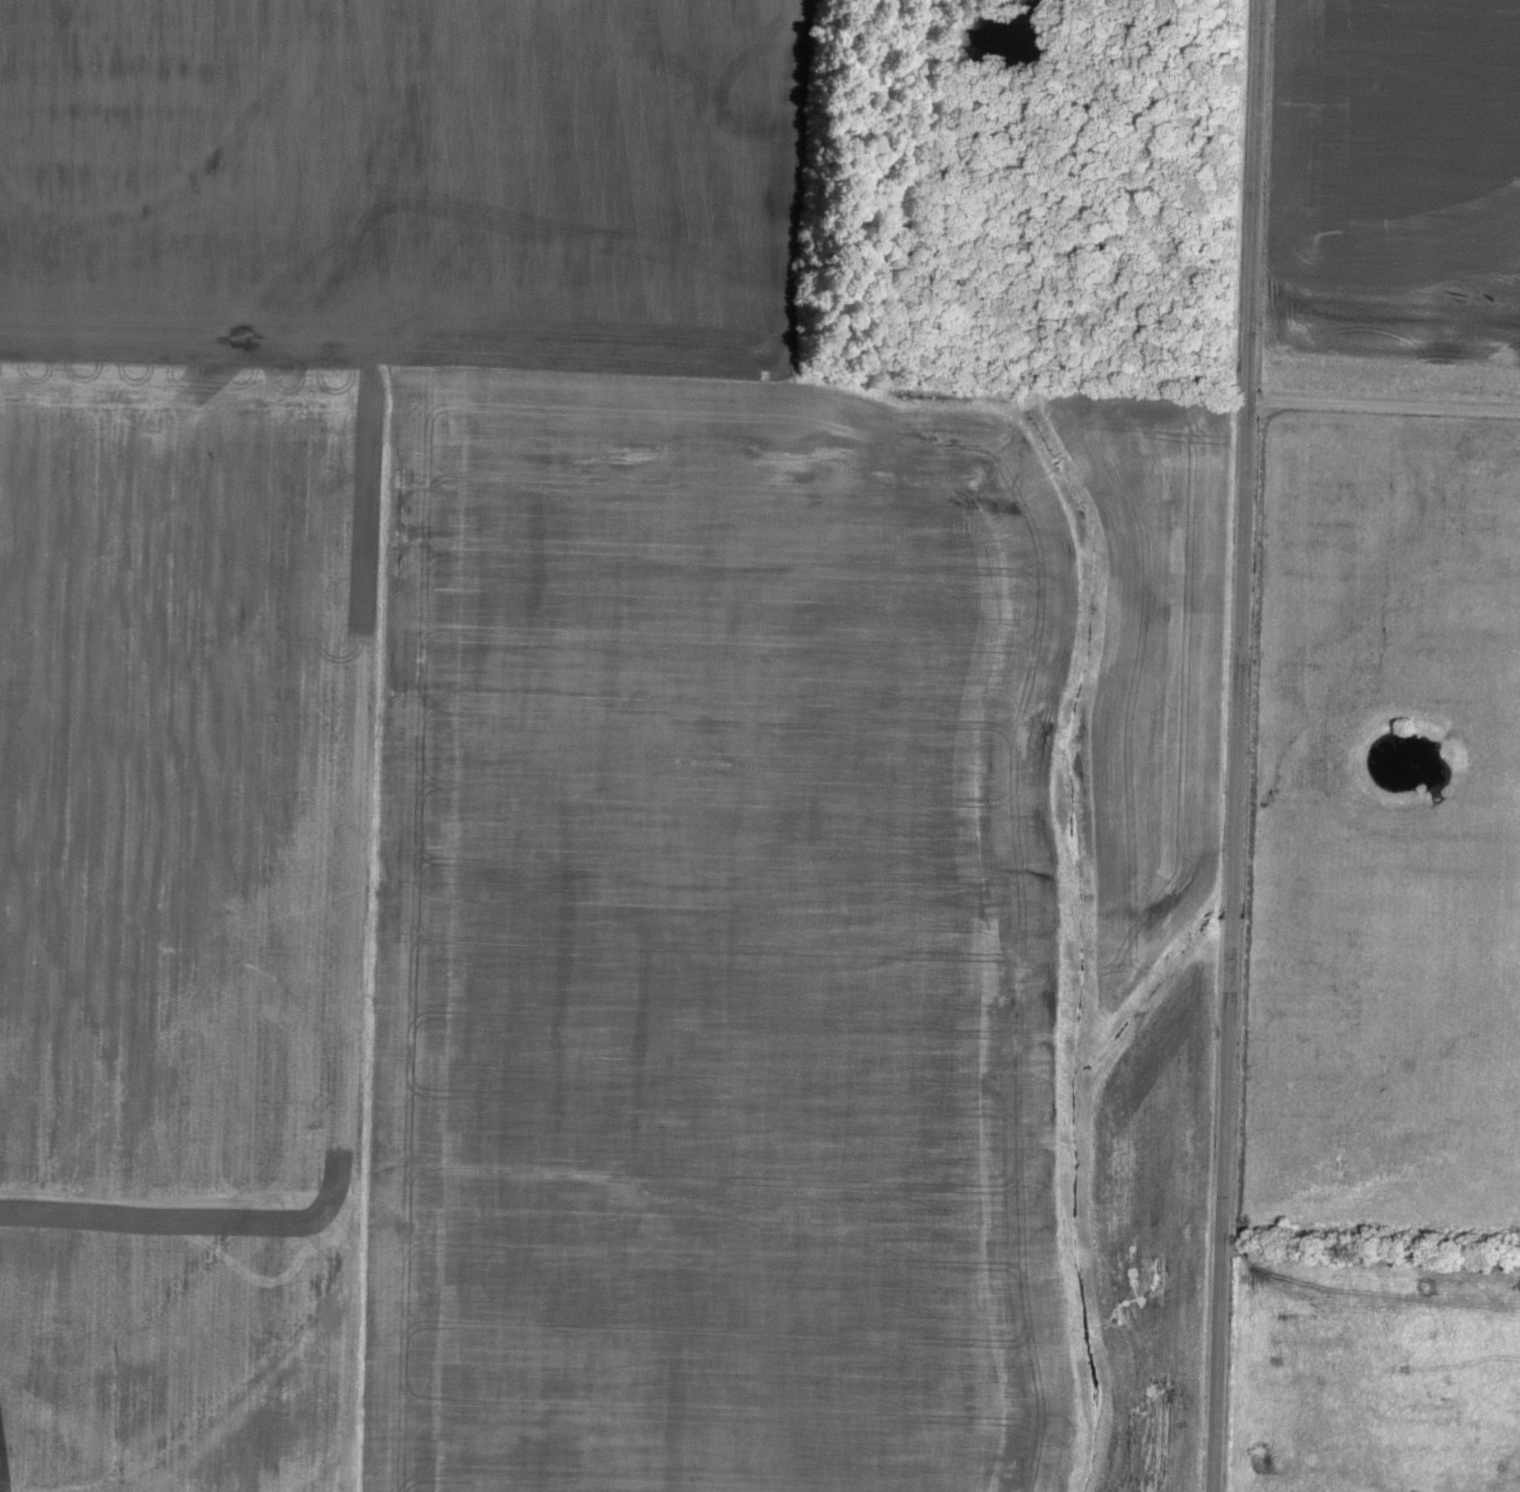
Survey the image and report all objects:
road: (1382, 409)
road: (1233, 746)

